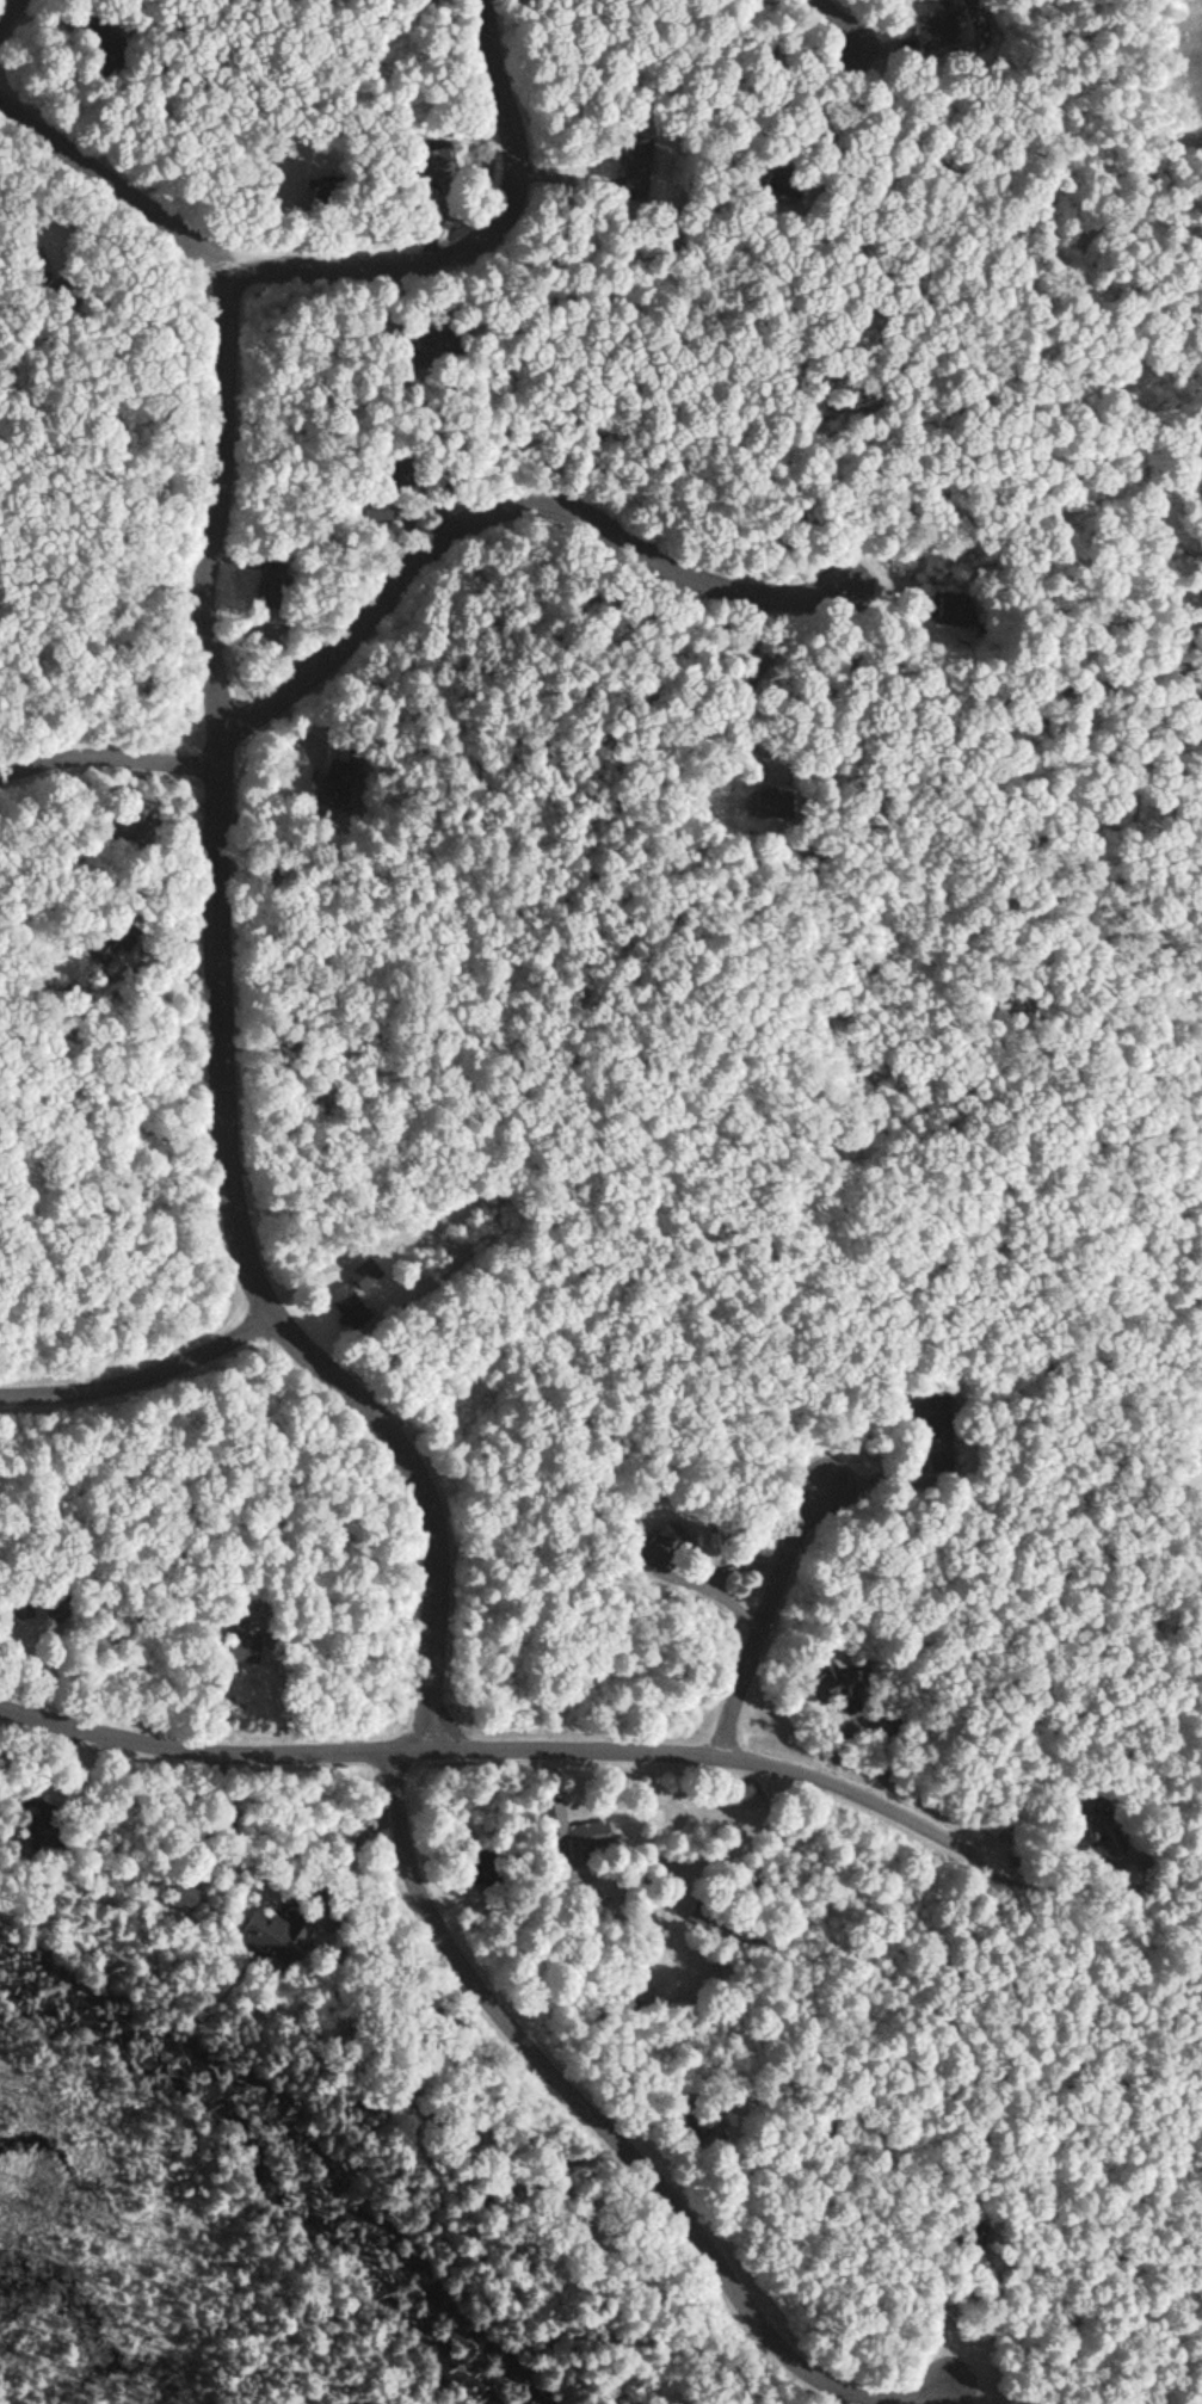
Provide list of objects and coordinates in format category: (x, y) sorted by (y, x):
road: (4, 6)
building: (942, 21)
road: (839, 43)
building: (94, 50)
building: (427, 162)
building: (640, 172)
road: (468, 245)
building: (419, 346)
road: (542, 506)
building: (267, 587)
building: (954, 611)
road: (105, 753)
building: (332, 778)
building: (757, 801)
building: (116, 830)
road: (218, 913)
building: (99, 949)
building: (355, 1293)
road: (144, 1376)
building: (939, 1413)
building: (942, 1457)
road: (766, 1613)
building: (244, 1647)
building: (840, 1682)
road: (555, 1750)
building: (572, 1830)
building: (483, 1870)
building: (168, 1896)
road: (1139, 1934)
building: (267, 1935)
road: (614, 2128)
river: (289, 2135)

